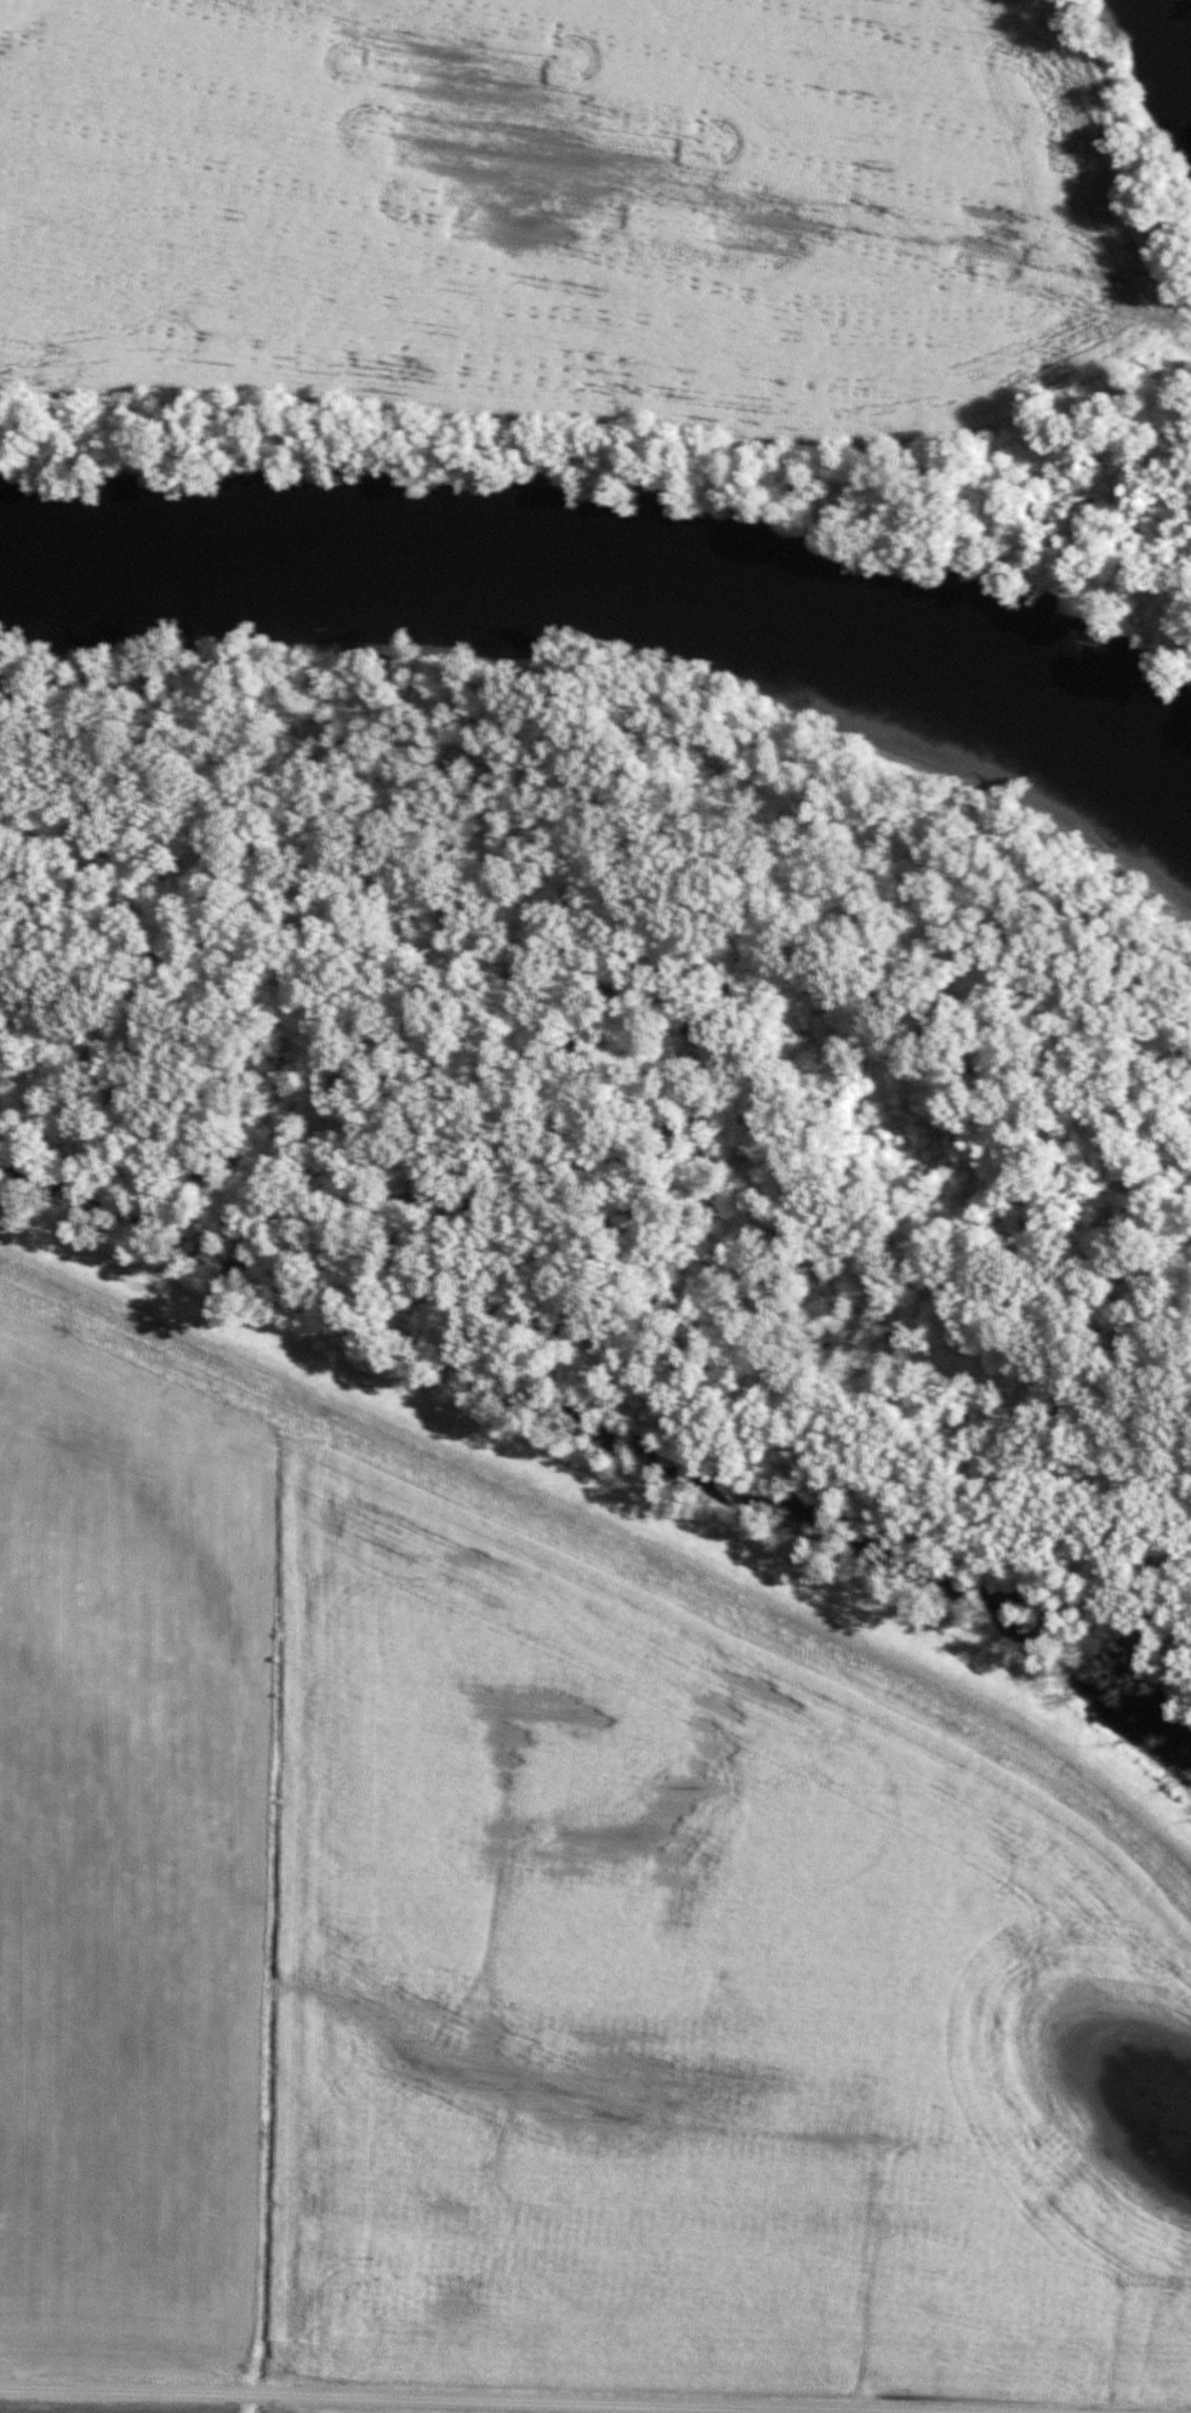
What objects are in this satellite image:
river: (621, 531)
road: (469, 2398)

